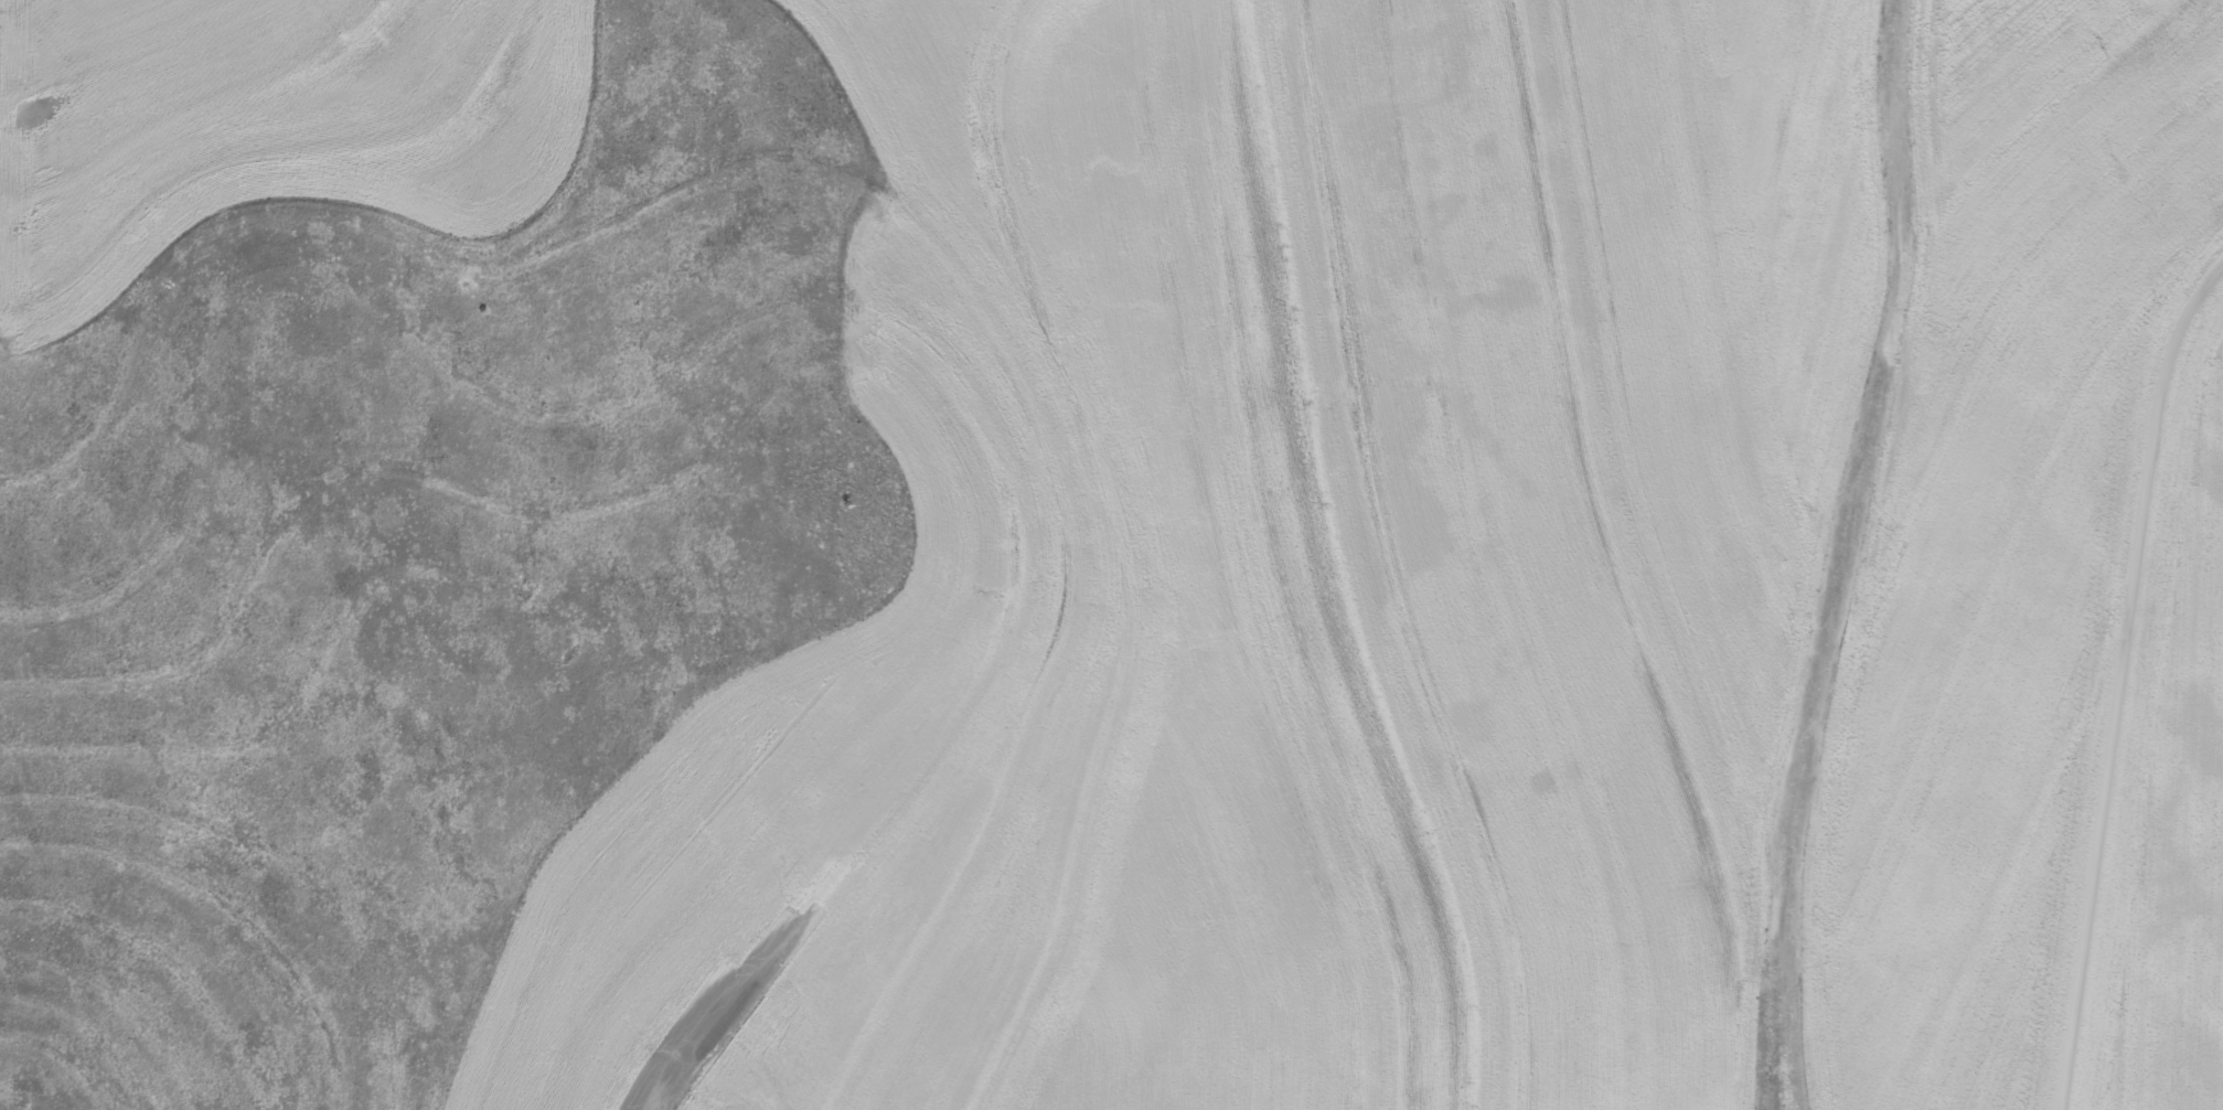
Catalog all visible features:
road: (2117, 673)
airport: (2201, 906)

